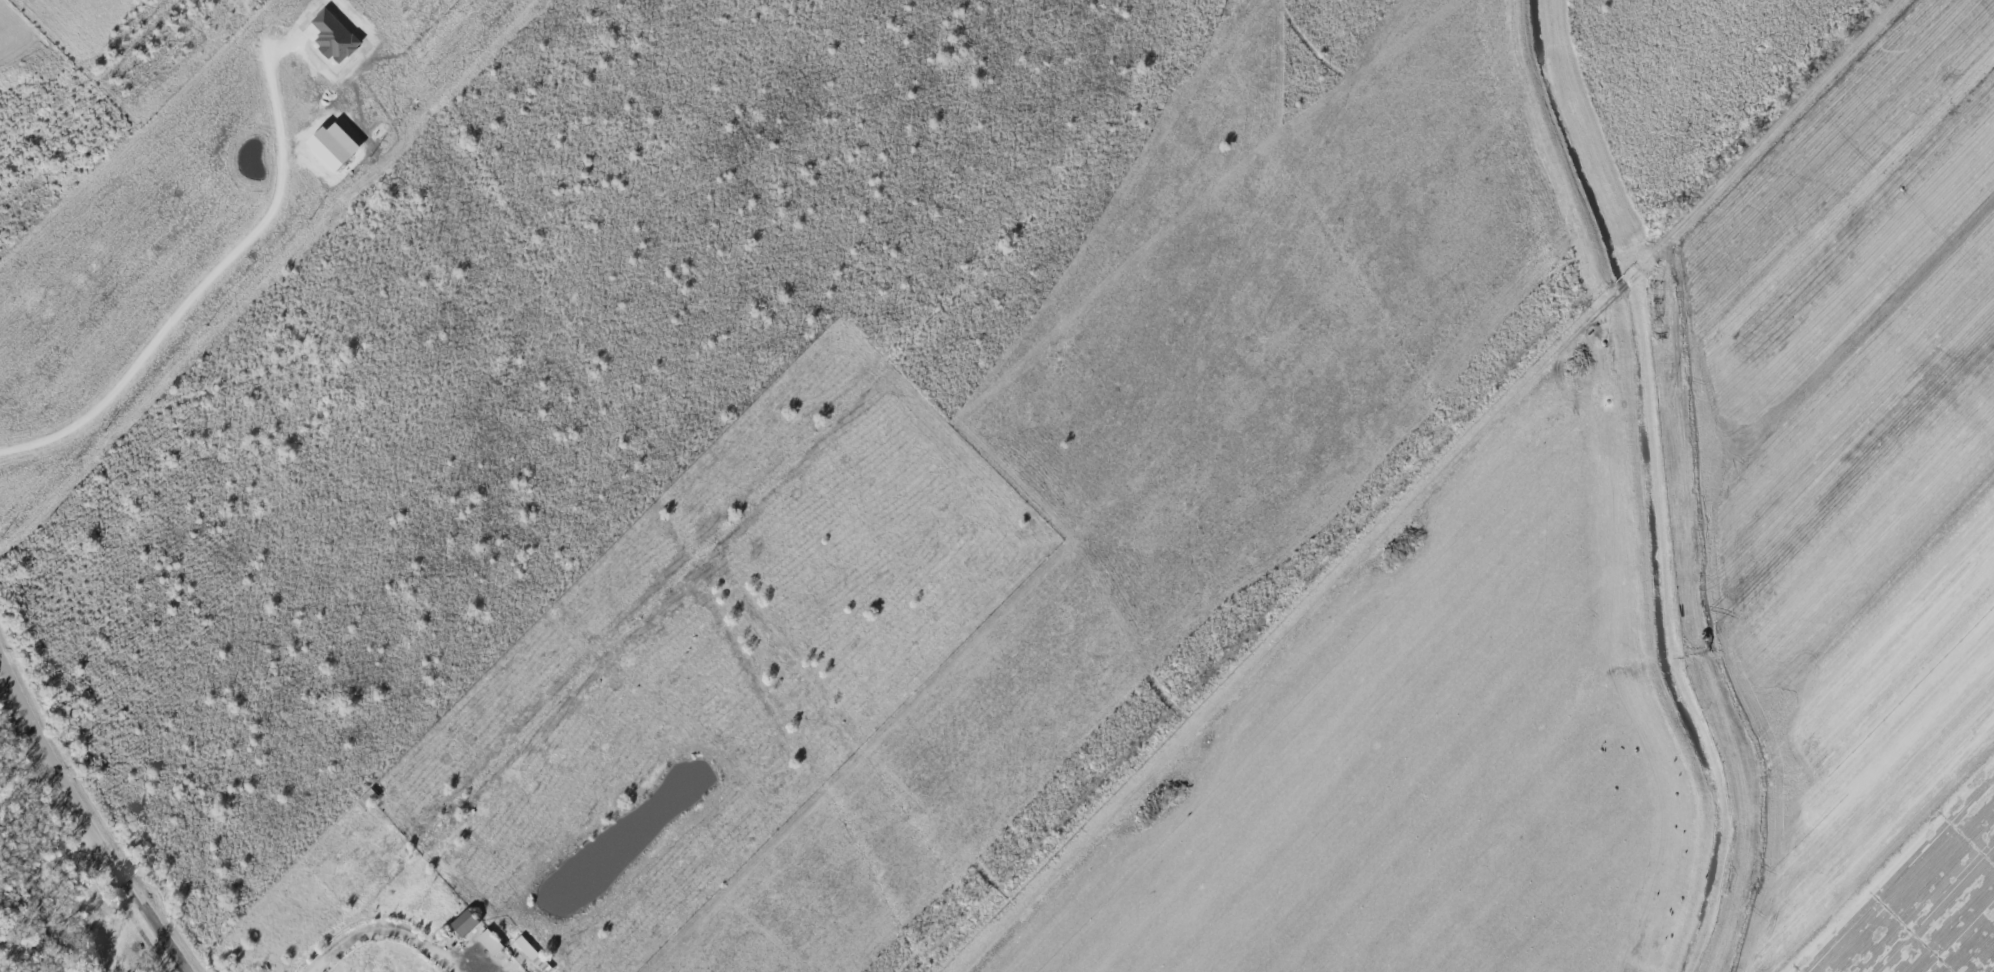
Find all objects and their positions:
road: (90, 810)
building: (467, 922)
road: (367, 931)

